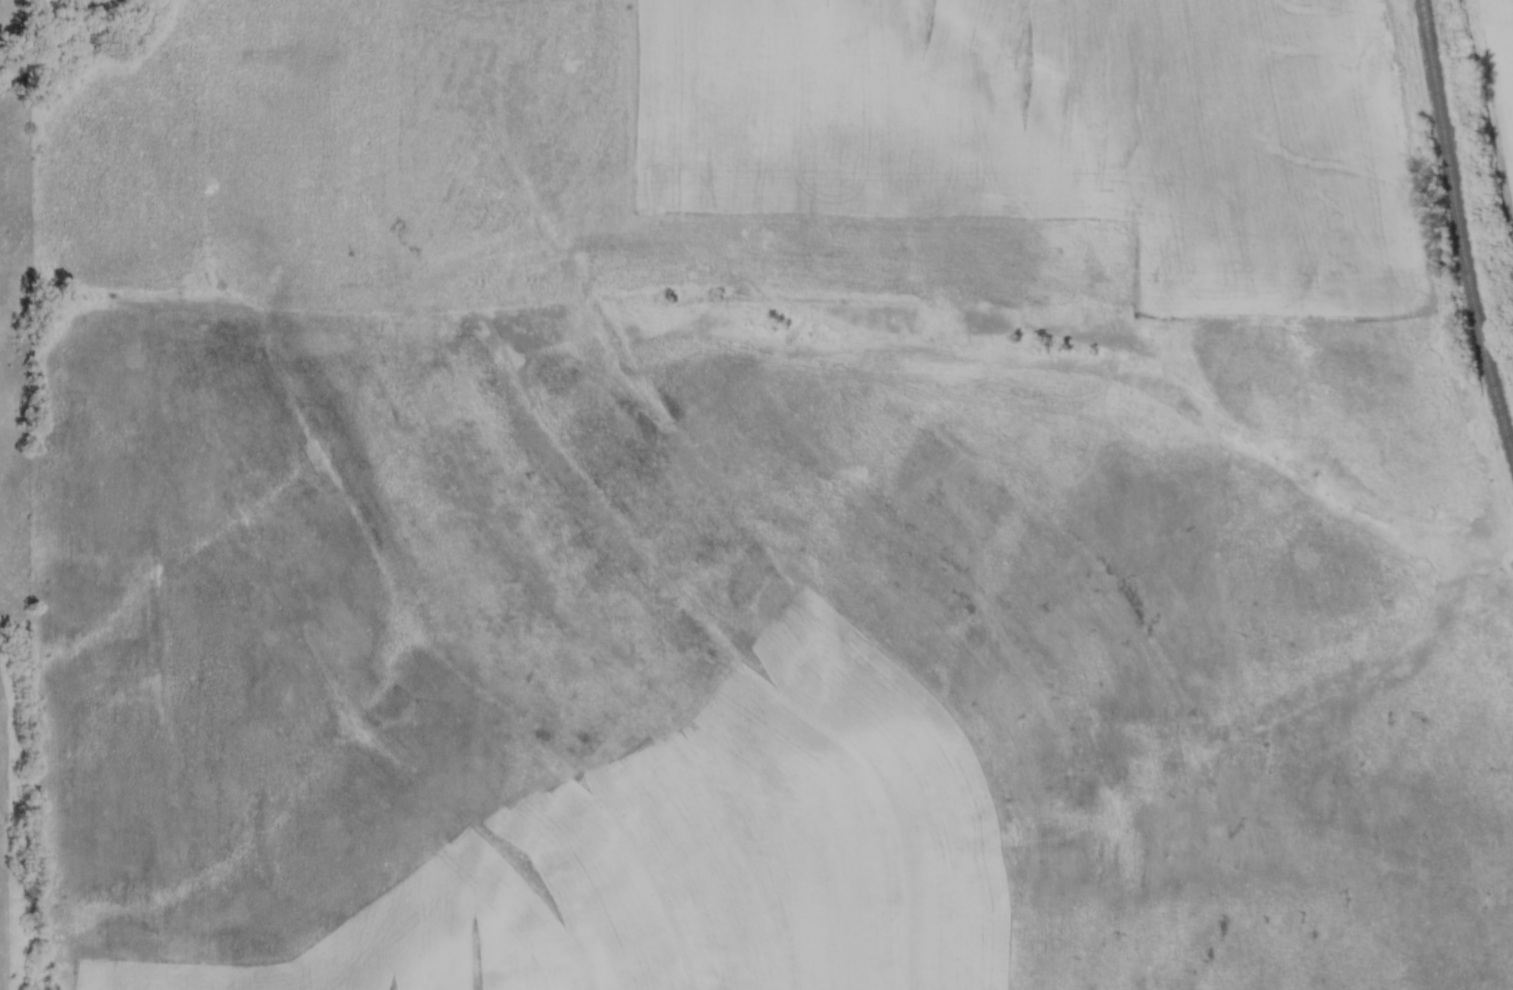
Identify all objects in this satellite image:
railway: (1457, 232)

